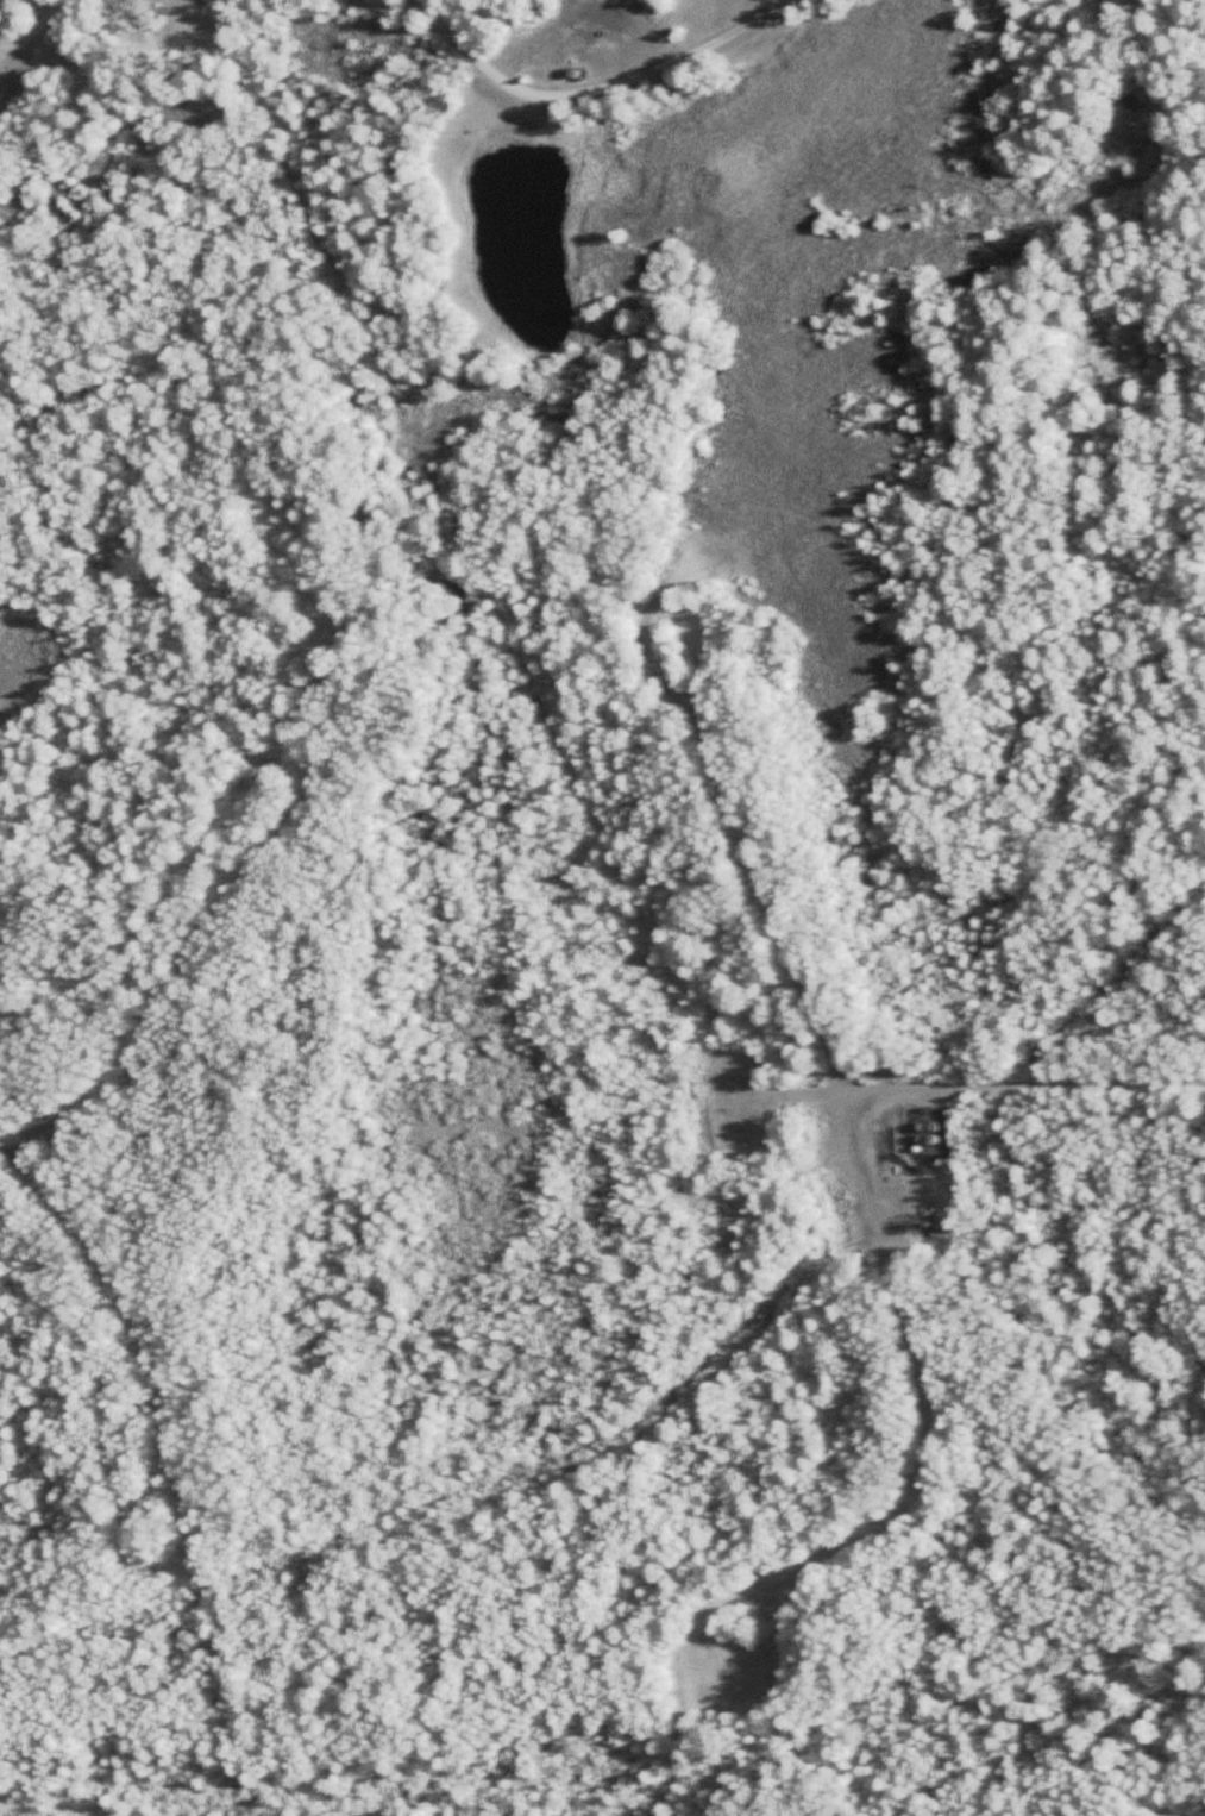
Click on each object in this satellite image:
road: (34, 30)
road: (594, 92)
road: (4, 1145)

